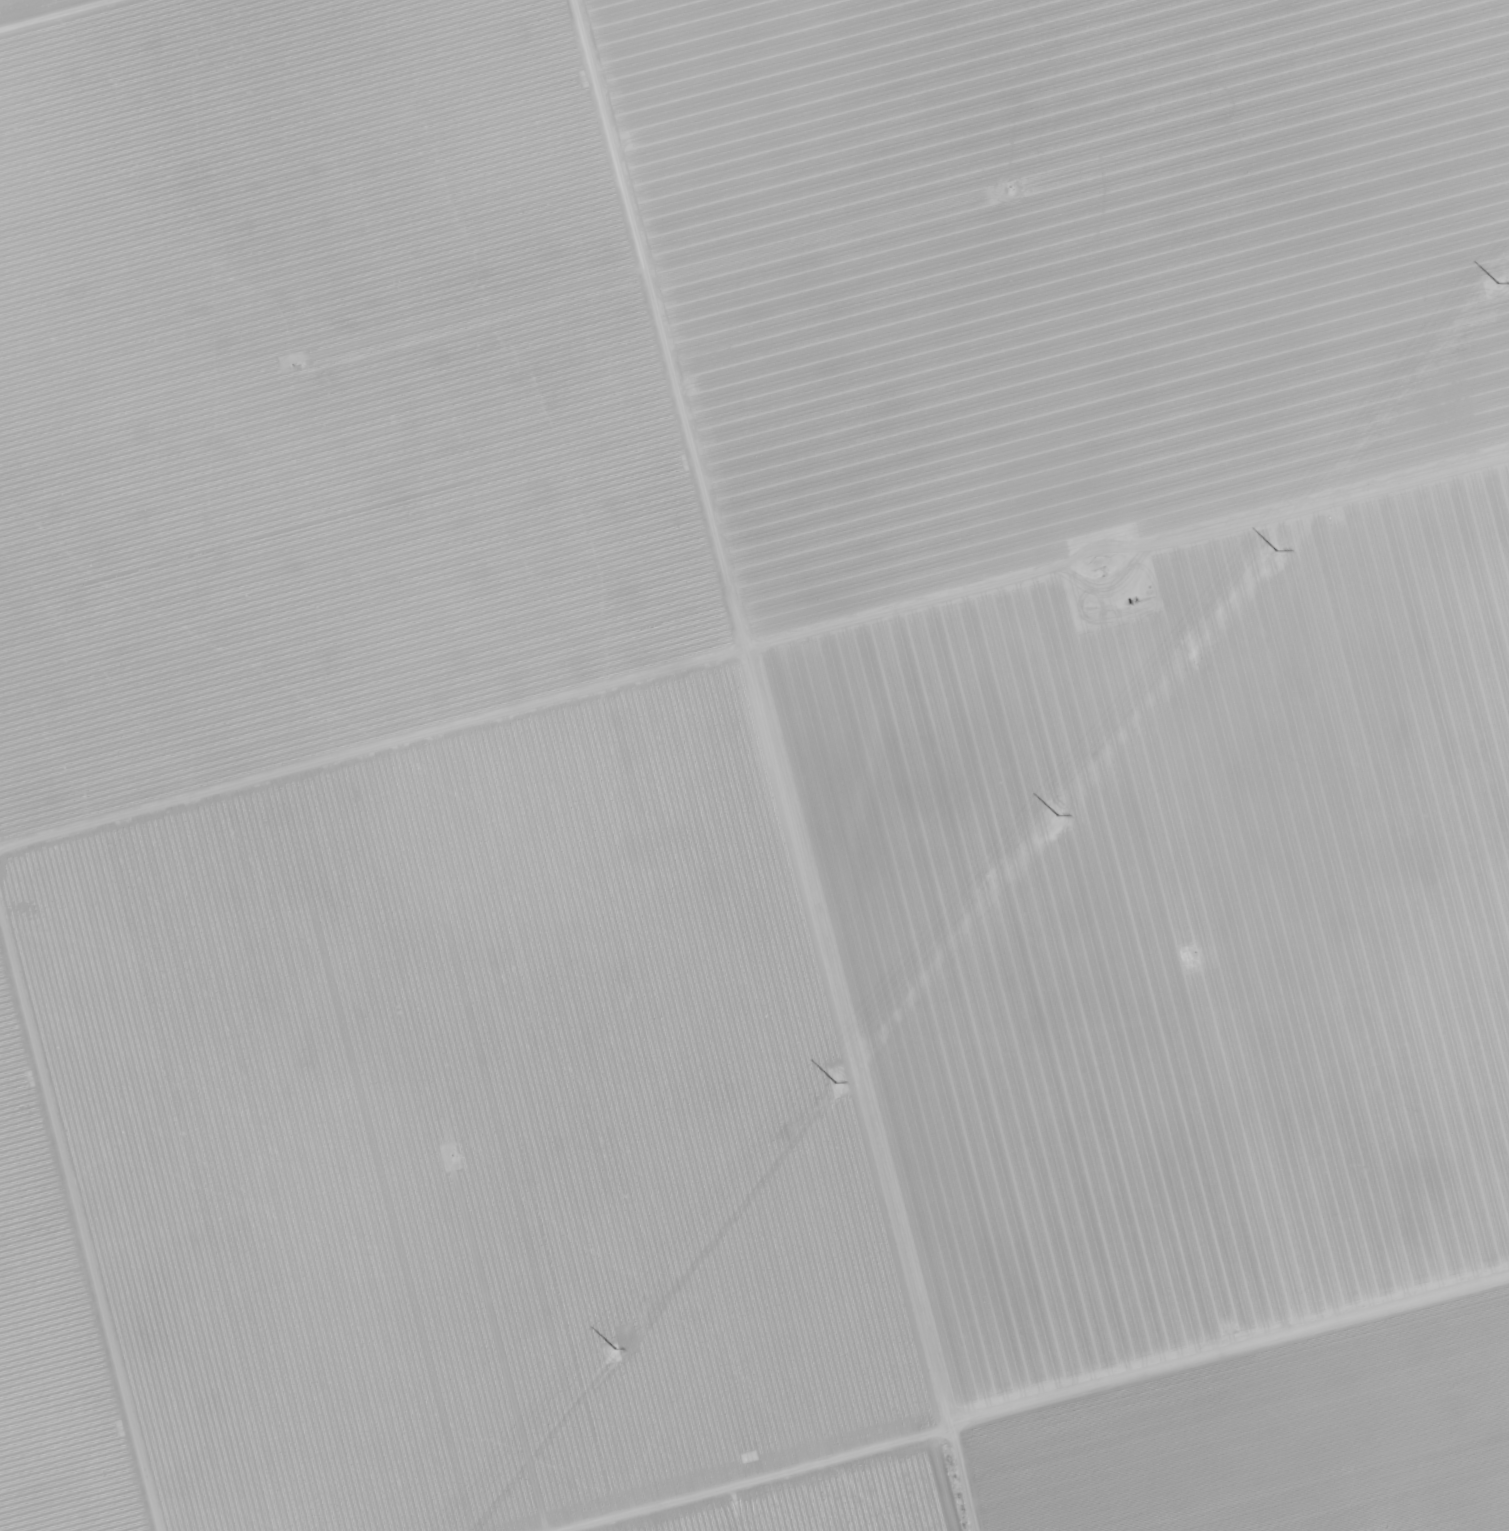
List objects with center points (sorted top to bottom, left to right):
power tower: (1506, 272)
power tower: (1283, 541)
power tower: (1062, 805)
power tower: (841, 1074)
power tower: (621, 1339)

